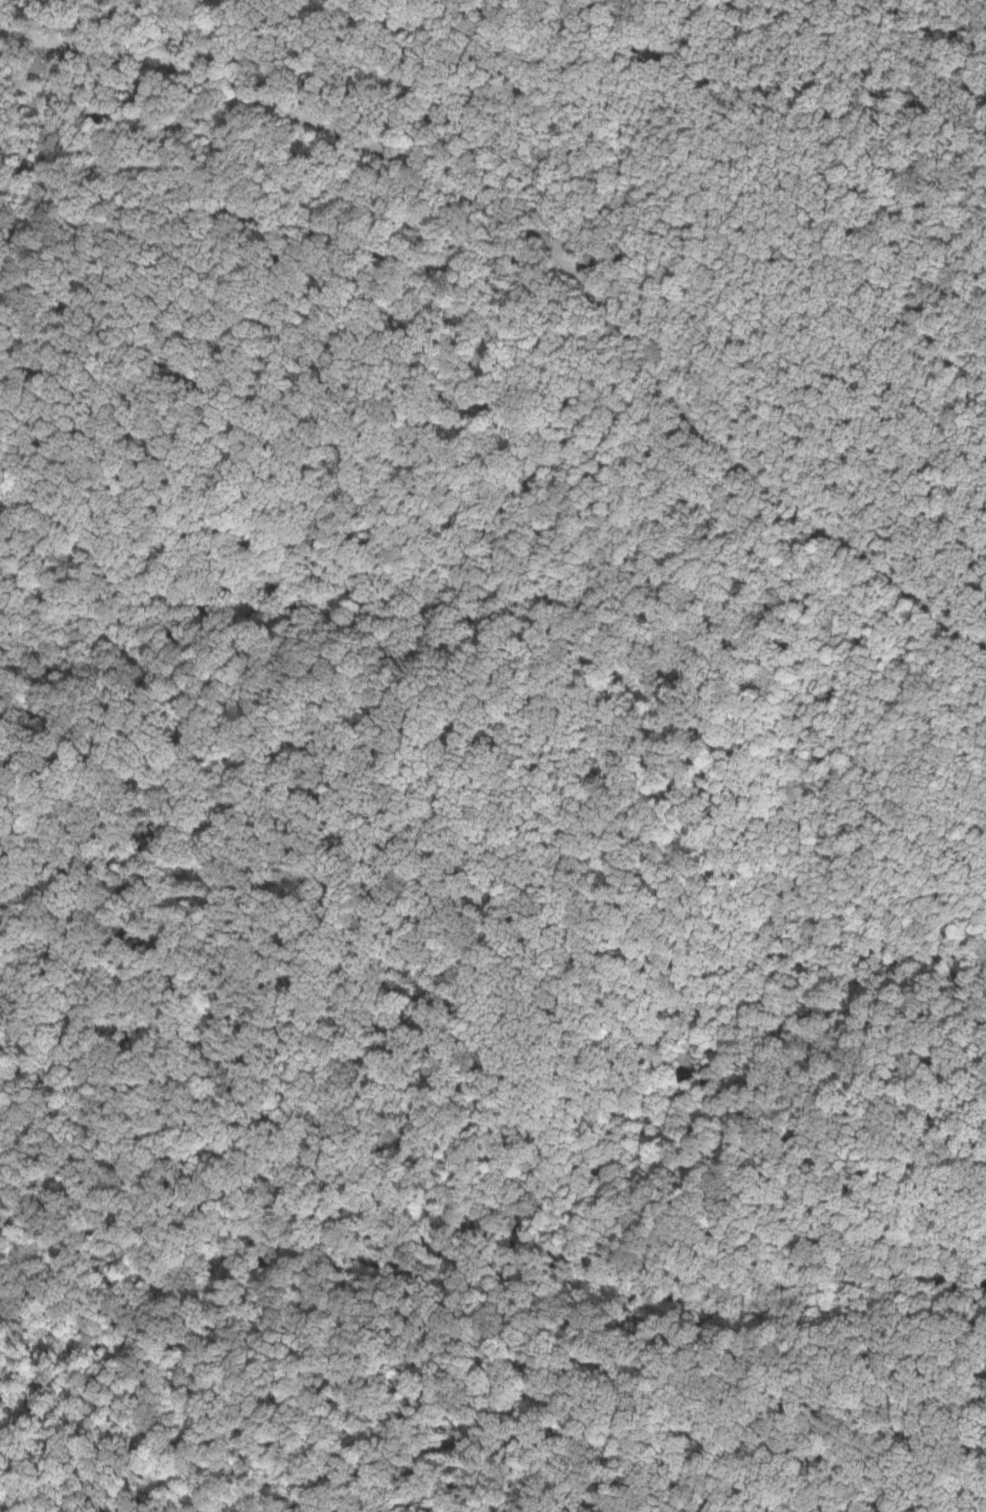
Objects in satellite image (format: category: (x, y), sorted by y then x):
road: (545, 245)

